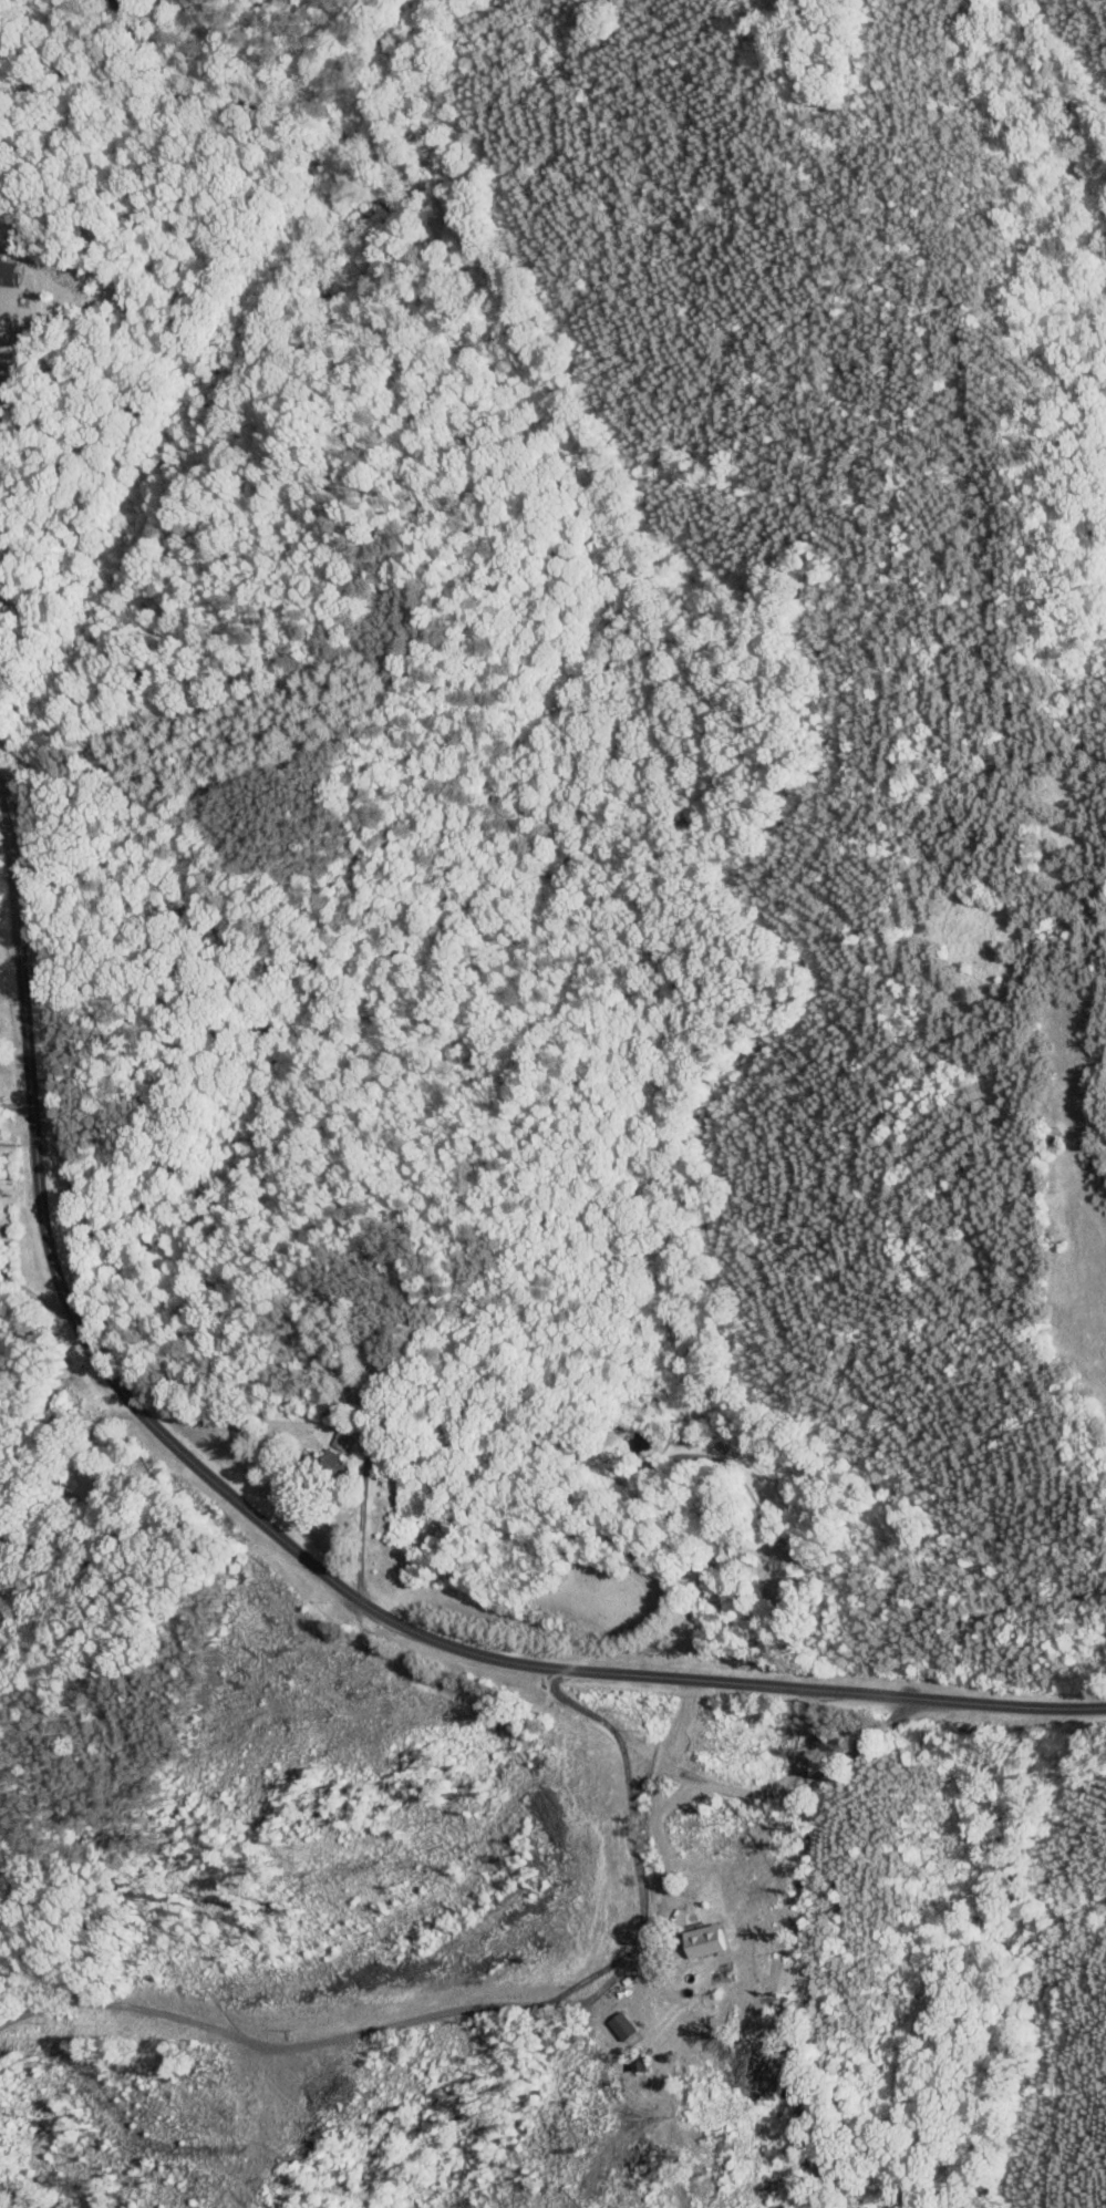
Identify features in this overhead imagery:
building: (8, 297)
road: (2, 378)
road: (1084, 1185)
building: (333, 1441)
building: (324, 1463)
road: (302, 1558)
road: (795, 1791)
building: (700, 1939)
road: (489, 2005)
building: (619, 2024)

